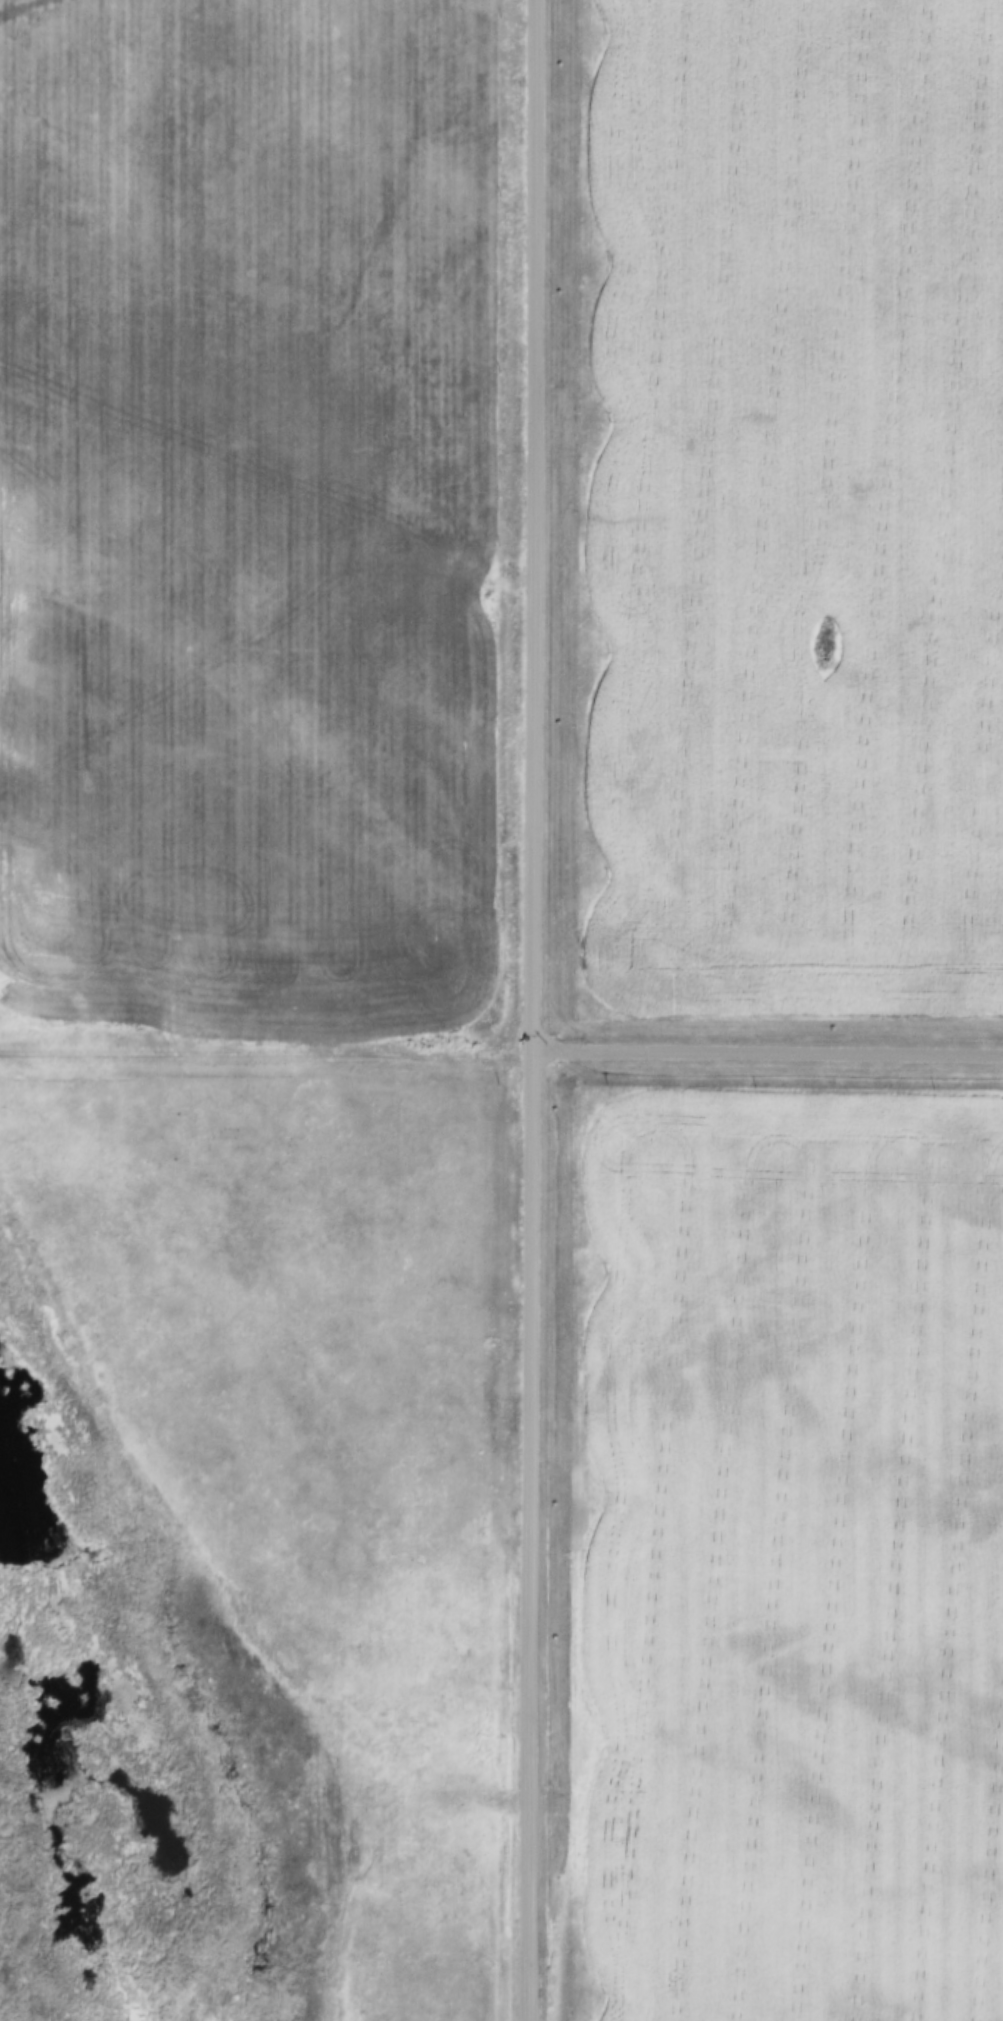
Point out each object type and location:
road: (534, 1010)
road: (768, 1051)
road: (267, 1053)

